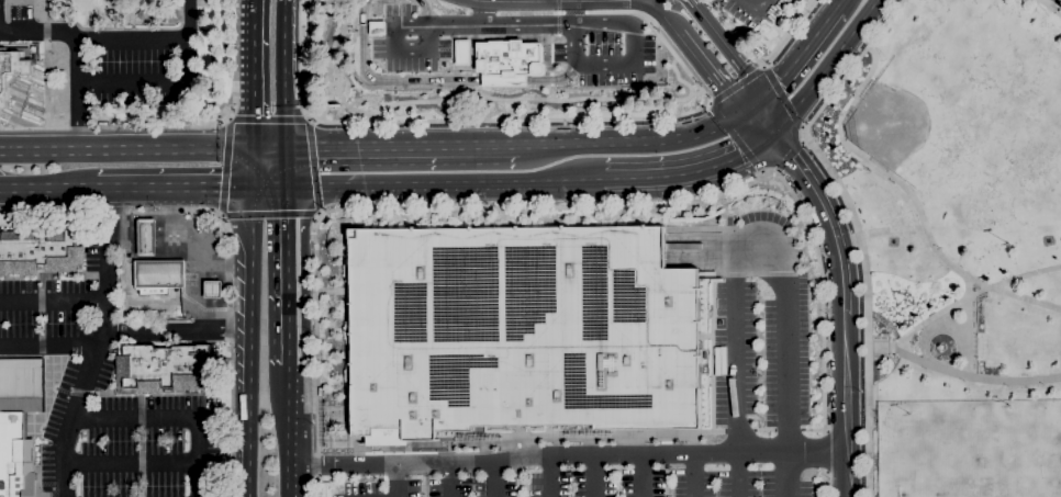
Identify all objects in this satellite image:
road: (528, 0)
road: (529, 1)
road: (839, 4)
road: (755, 5)
road: (1049, 8)
road: (423, 10)
road: (482, 12)
road: (569, 12)
road: (572, 12)
parking lot: (752, 13)
road: (664, 15)
road: (188, 18)
road: (556, 19)
road: (865, 20)
road: (440, 24)
road: (655, 31)
road: (38, 32)
road: (786, 34)
road: (132, 38)
road: (724, 46)
building: (460, 50)
parking lot: (601, 50)
road: (545, 52)
building: (507, 57)
road: (796, 58)
road: (630, 65)
building: (12, 67)
road: (286, 72)
road: (707, 74)
road: (252, 75)
road: (431, 79)
building: (501, 79)
road: (549, 79)
road: (155, 82)
road: (735, 86)
flagpole: (19, 87)
road: (812, 88)
road: (549, 91)
road: (694, 92)
road: (77, 95)
road: (641, 99)
road: (323, 102)
road: (706, 103)
road: (388, 105)
road: (511, 110)
road: (223, 116)
road: (308, 116)
road: (451, 120)
road: (762, 120)
park: (901, 123)
road: (170, 127)
road: (651, 142)
road: (529, 145)
road: (401, 146)
traffic signals: (287, 147)
road: (269, 148)
road: (125, 150)
traffic signals: (252, 150)
road: (287, 165)
road: (250, 167)
road: (691, 176)
traffic signals: (249, 183)
road: (268, 183)
traffic signals: (287, 183)
road: (171, 184)
road: (406, 184)
road: (565, 185)
road: (47, 187)
road: (906, 192)
road: (304, 213)
road: (316, 214)
road: (217, 216)
road: (174, 222)
road: (852, 226)
road: (135, 227)
building: (146, 237)
park: (953, 244)
road: (227, 246)
building: (42, 250)
road: (756, 251)
road: (287, 259)
road: (224, 264)
gas station: (171, 267)
building: (159, 273)
gas station: (159, 273)
road: (199, 279)
building: (212, 289)
road: (53, 301)
road: (959, 302)
road: (134, 303)
road: (842, 307)
road: (186, 308)
road: (220, 318)
road: (176, 331)
building: (521, 331)
road: (252, 339)
road: (312, 339)
road: (48, 342)
road: (96, 342)
road: (289, 357)
building: (164, 369)
parking lot: (760, 377)
road: (975, 379)
road: (170, 419)
building: (18, 422)
road: (290, 423)
road: (568, 453)
park: (973, 455)
road: (130, 463)
road: (644, 474)
road: (693, 474)
road: (549, 475)
road: (594, 475)
road: (493, 479)
road: (448, 481)
road: (291, 482)
road: (398, 482)

